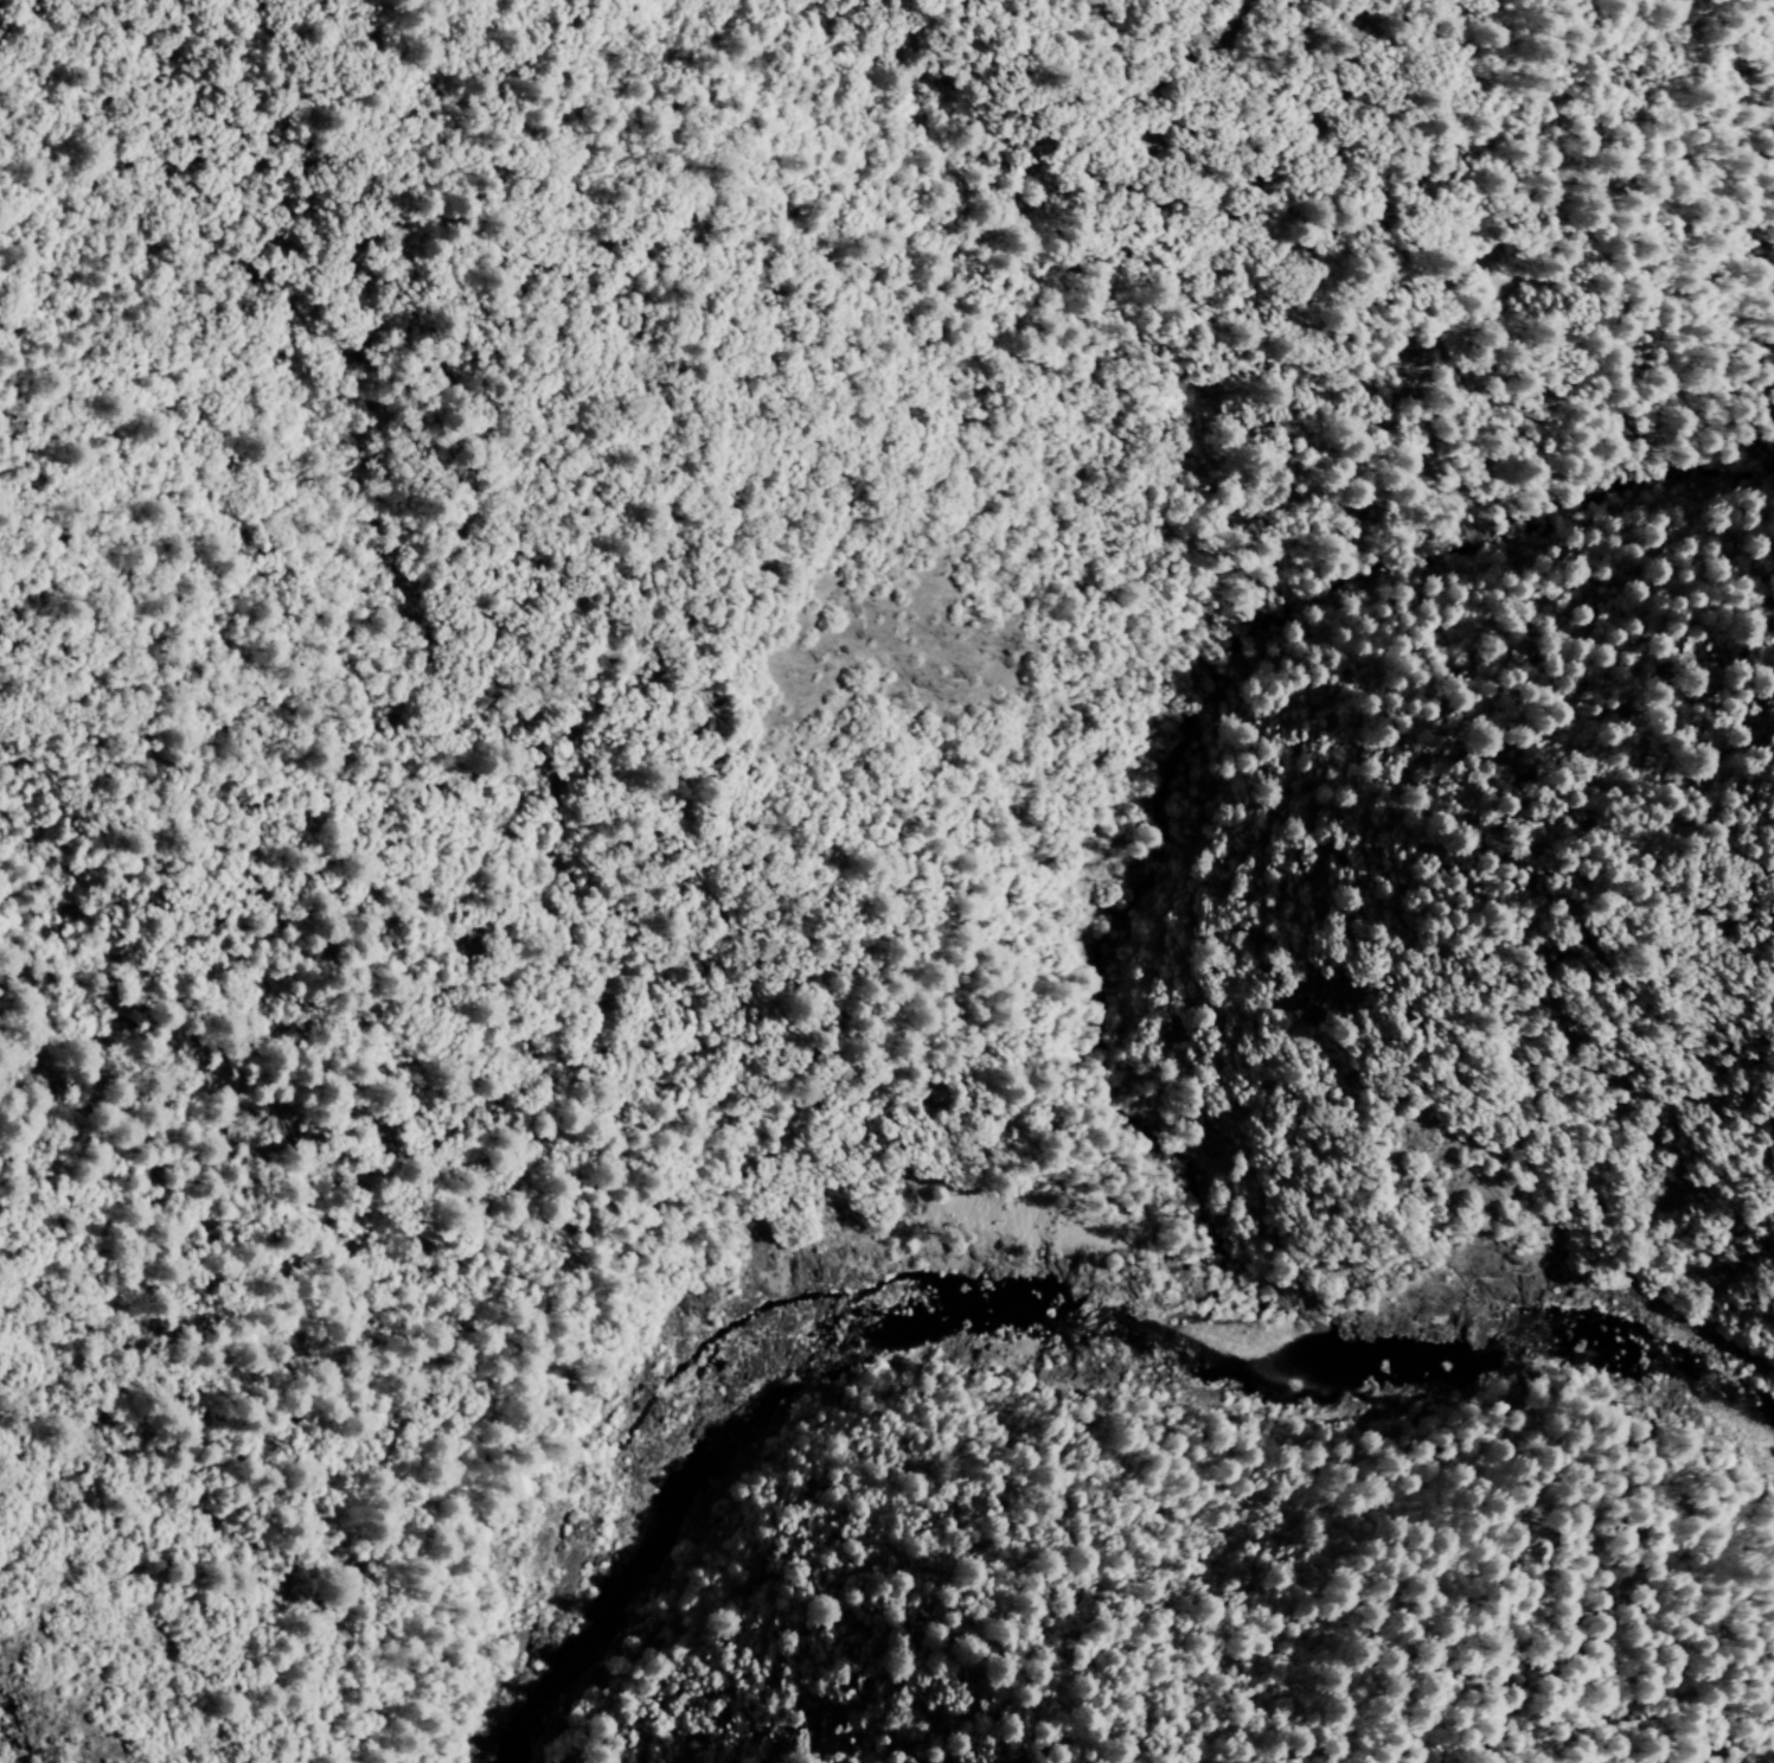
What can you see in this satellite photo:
road: (1266, 503)
park: (1282, 659)
road: (909, 1131)
river: (999, 1317)
river: (1484, 1358)
river: (728, 1450)
river: (557, 1656)

